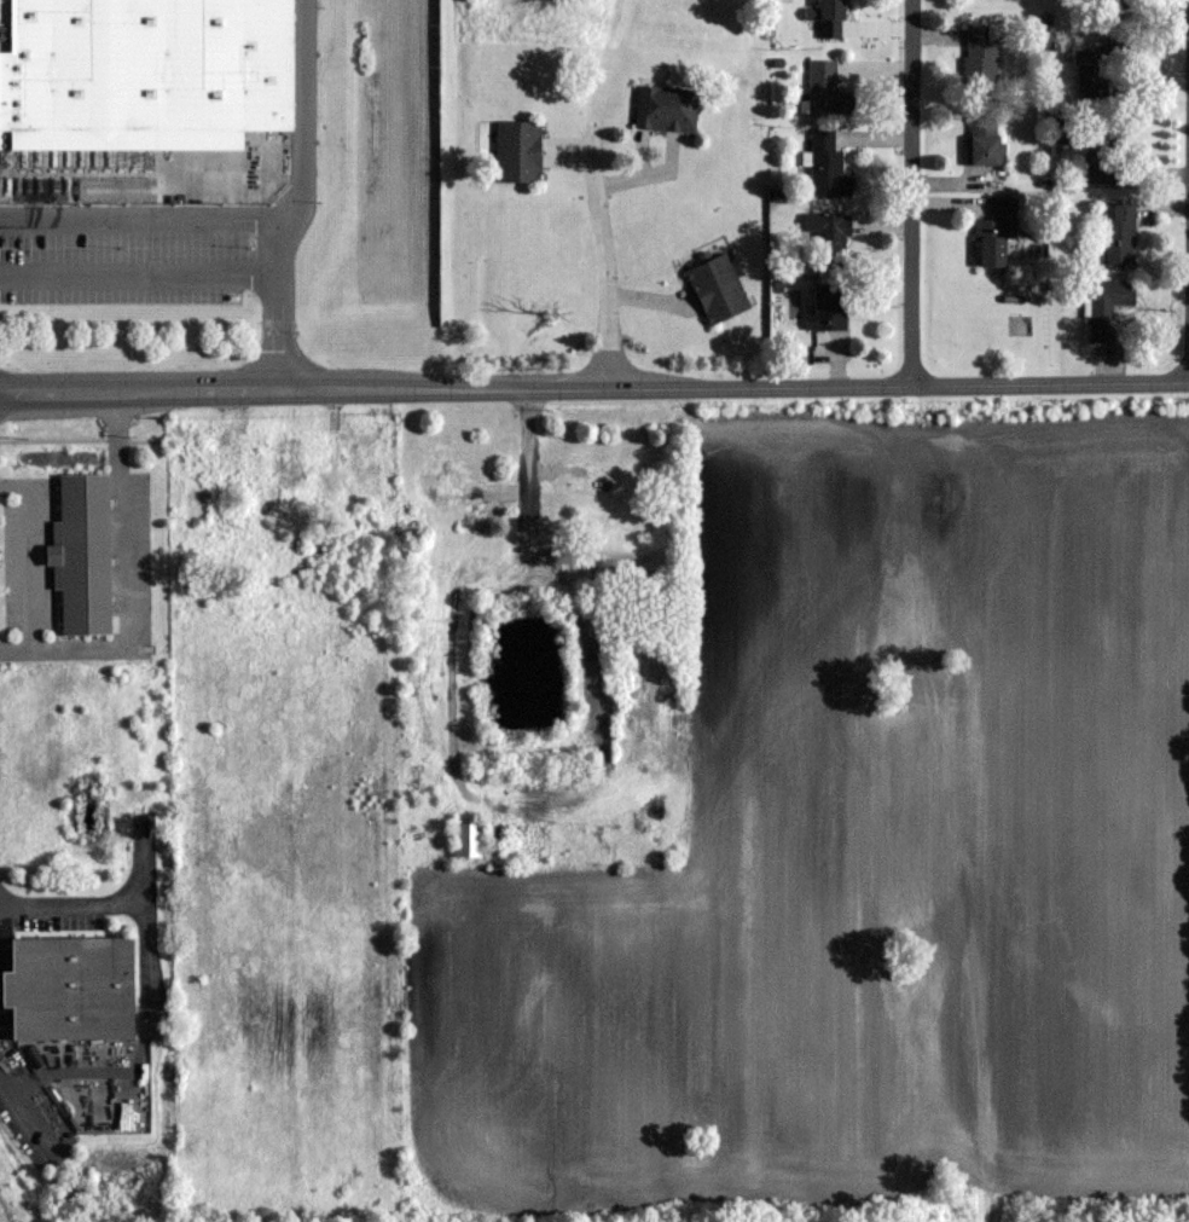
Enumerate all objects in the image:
building: (829, 18)
building: (982, 60)
building: (1092, 73)
building: (143, 75)
building: (828, 89)
building: (667, 109)
building: (986, 140)
road: (302, 143)
building: (520, 152)
building: (1110, 158)
building: (829, 167)
road: (913, 192)
road: (146, 221)
building: (997, 233)
building: (1120, 233)
building: (828, 239)
road: (608, 256)
road: (187, 283)
building: (719, 289)
building: (1108, 306)
building: (829, 307)
road: (593, 389)
building: (288, 457)
building: (364, 476)
building: (329, 479)
building: (197, 503)
building: (83, 552)
road: (27, 557)
road: (129, 578)
building: (470, 838)
road: (108, 904)
road: (146, 950)
building: (72, 988)
road: (27, 1102)

